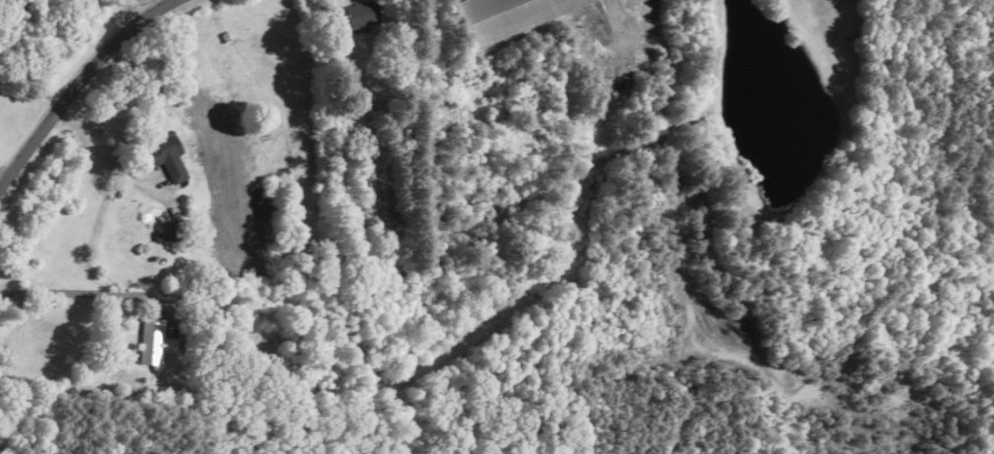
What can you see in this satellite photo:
building: (362, 14)
building: (507, 15)
road: (82, 92)
building: (165, 158)
building: (153, 342)

